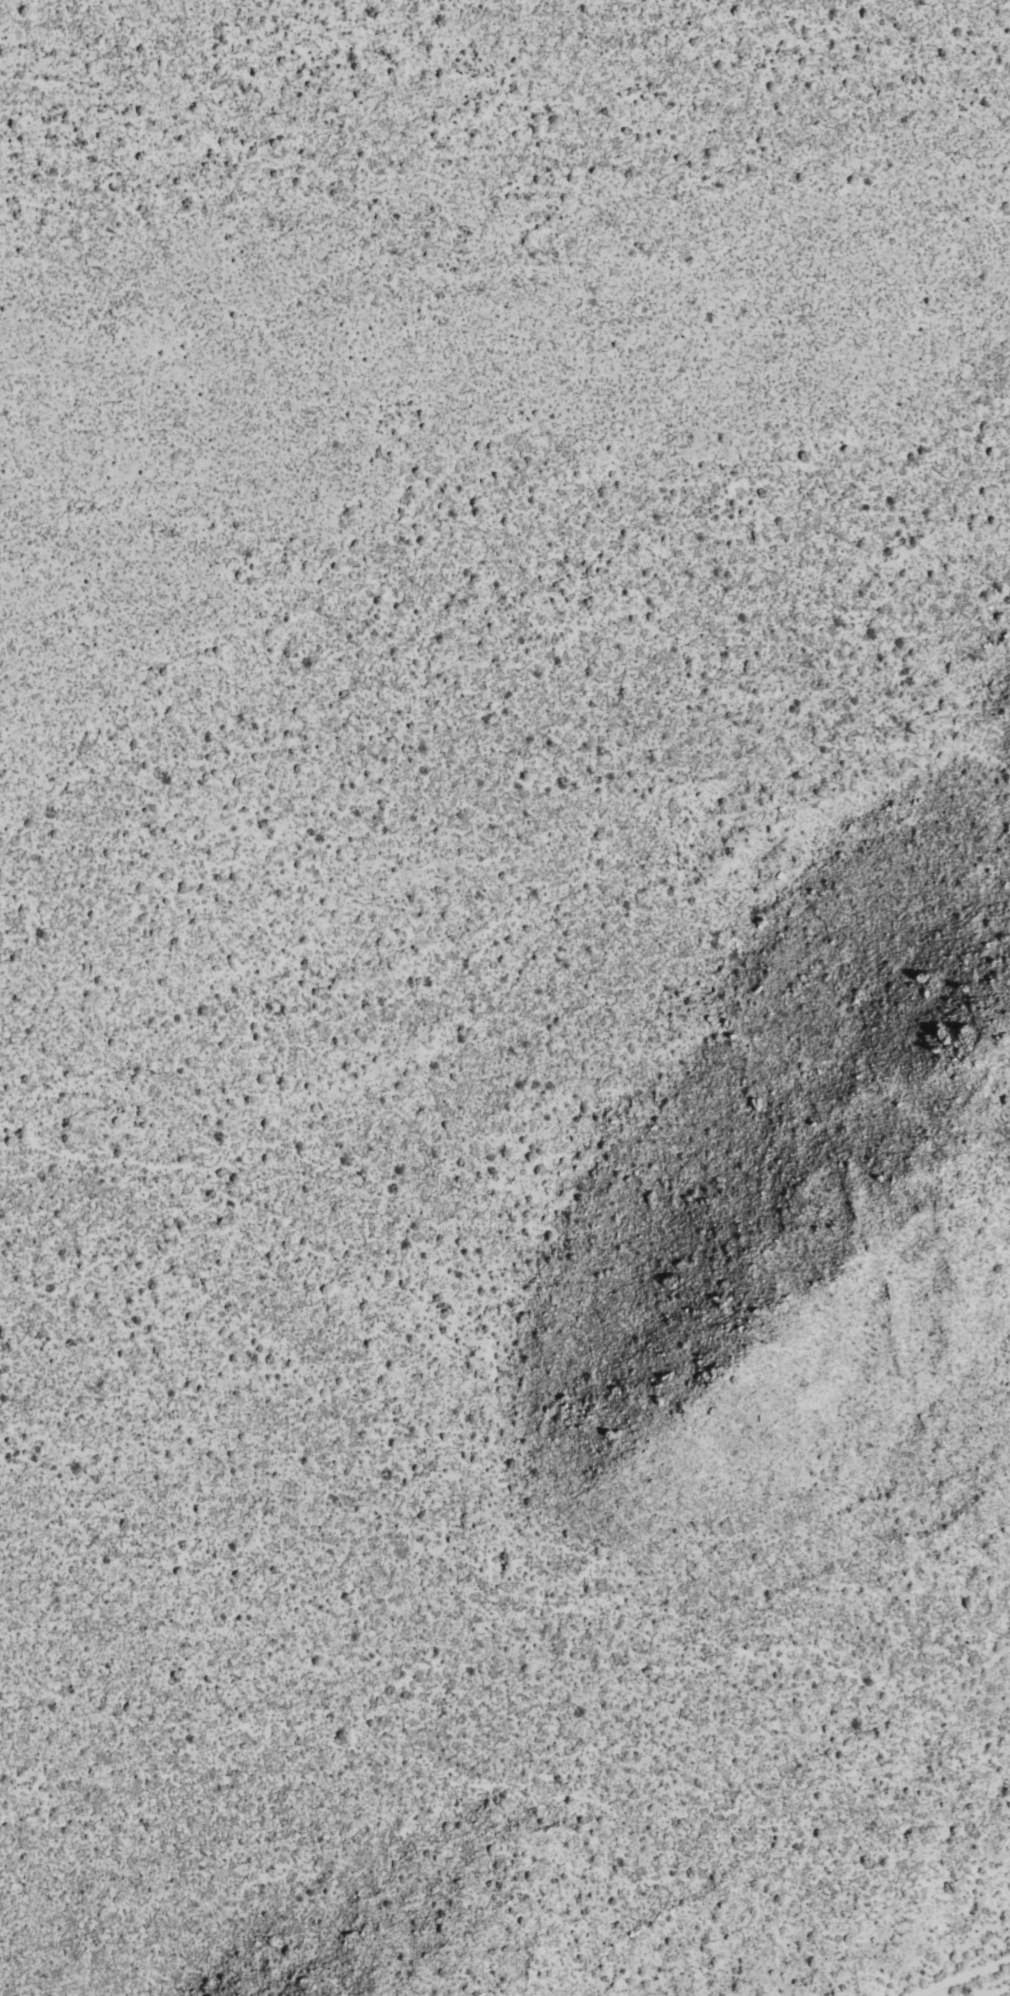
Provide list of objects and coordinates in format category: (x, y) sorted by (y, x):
road: (962, 1974)

